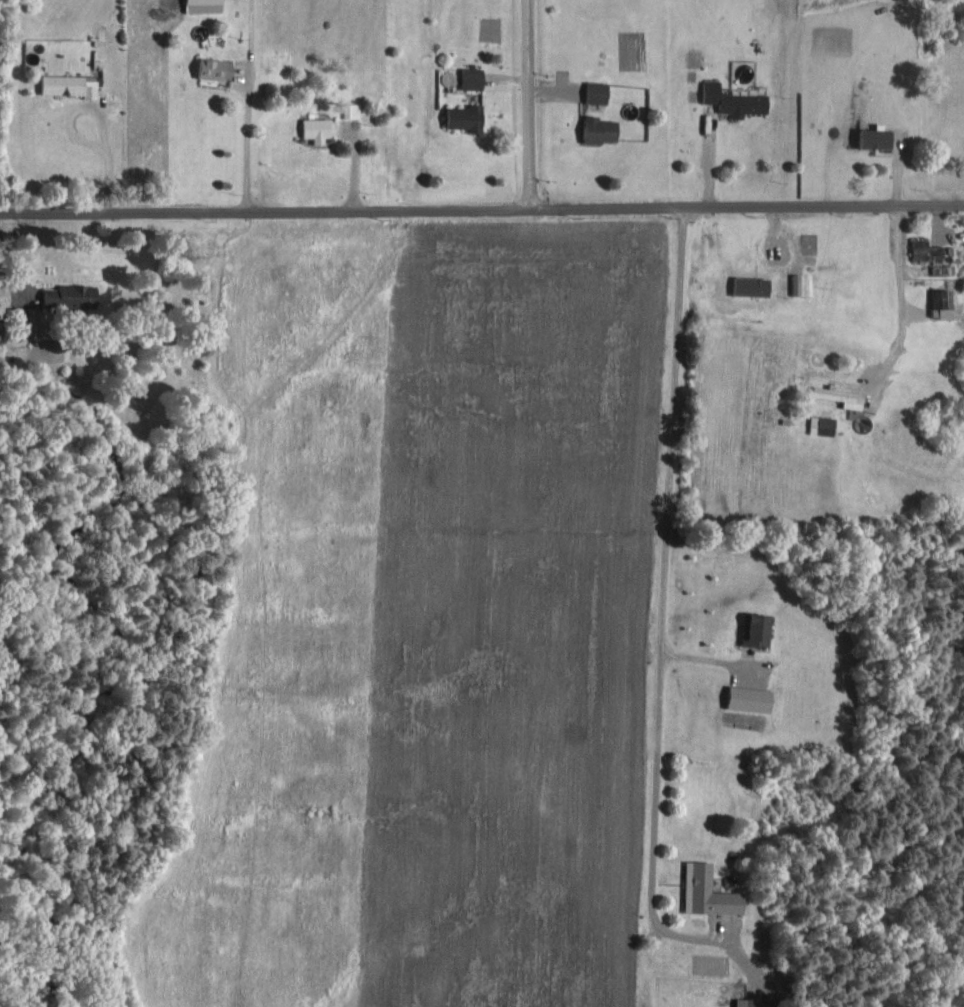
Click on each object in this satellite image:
building: (200, 5)
building: (211, 68)
building: (469, 78)
building: (66, 84)
building: (593, 92)
building: (730, 100)
road: (527, 104)
building: (349, 109)
building: (462, 117)
building: (313, 127)
building: (595, 129)
building: (871, 138)
road: (245, 146)
road: (482, 208)
building: (924, 251)
building: (68, 298)
building: (939, 303)
building: (23, 319)
building: (810, 424)
road: (663, 547)
building: (752, 630)
building: (745, 698)
building: (704, 892)
building: (747, 1003)

